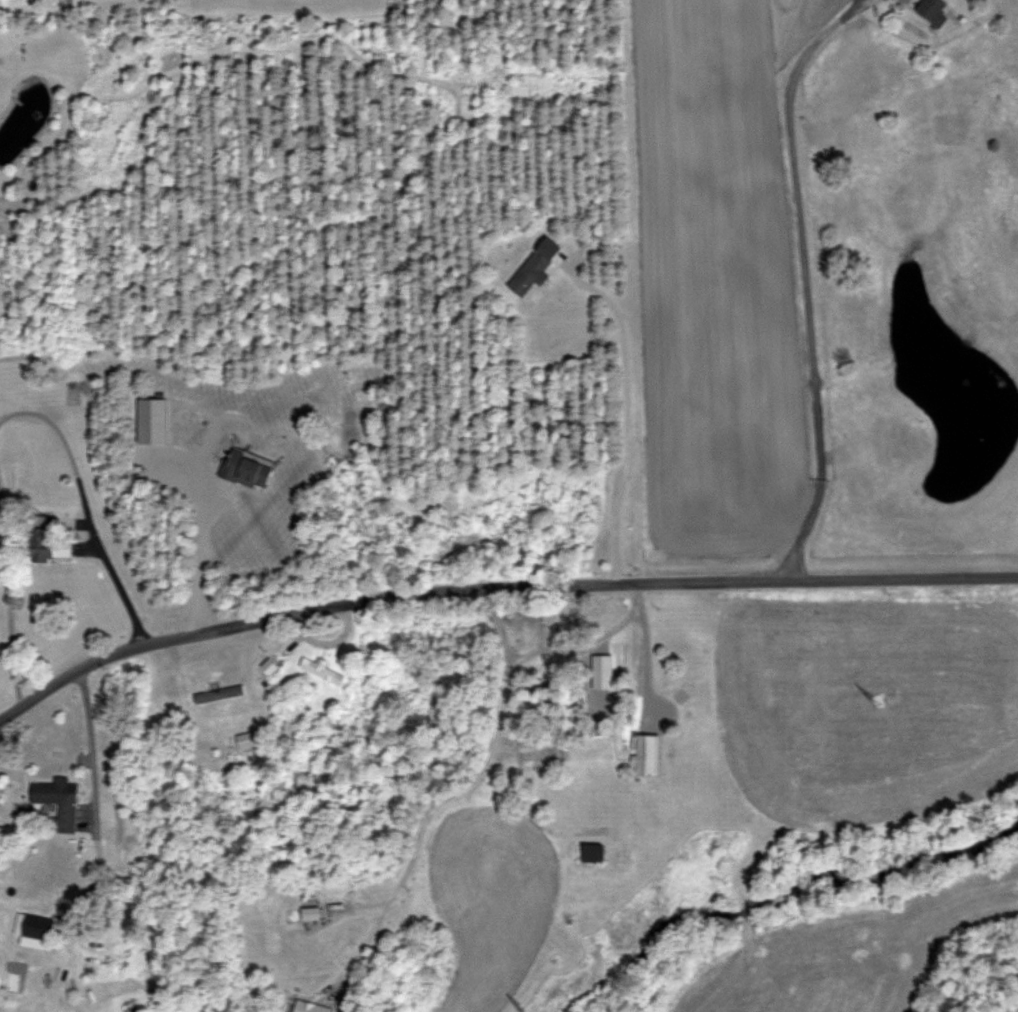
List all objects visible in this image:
building: (933, 11)
building: (535, 267)
road: (805, 278)
road: (618, 404)
building: (152, 421)
building: (246, 470)
road: (87, 510)
building: (49, 544)
road: (197, 554)
road: (496, 588)
road: (7, 611)
road: (581, 653)
road: (644, 661)
building: (321, 670)
building: (605, 680)
building: (219, 694)
road: (98, 744)
road: (446, 801)
building: (59, 802)
building: (593, 854)
building: (34, 930)
building: (303, 1005)
power tower: (525, 1010)

